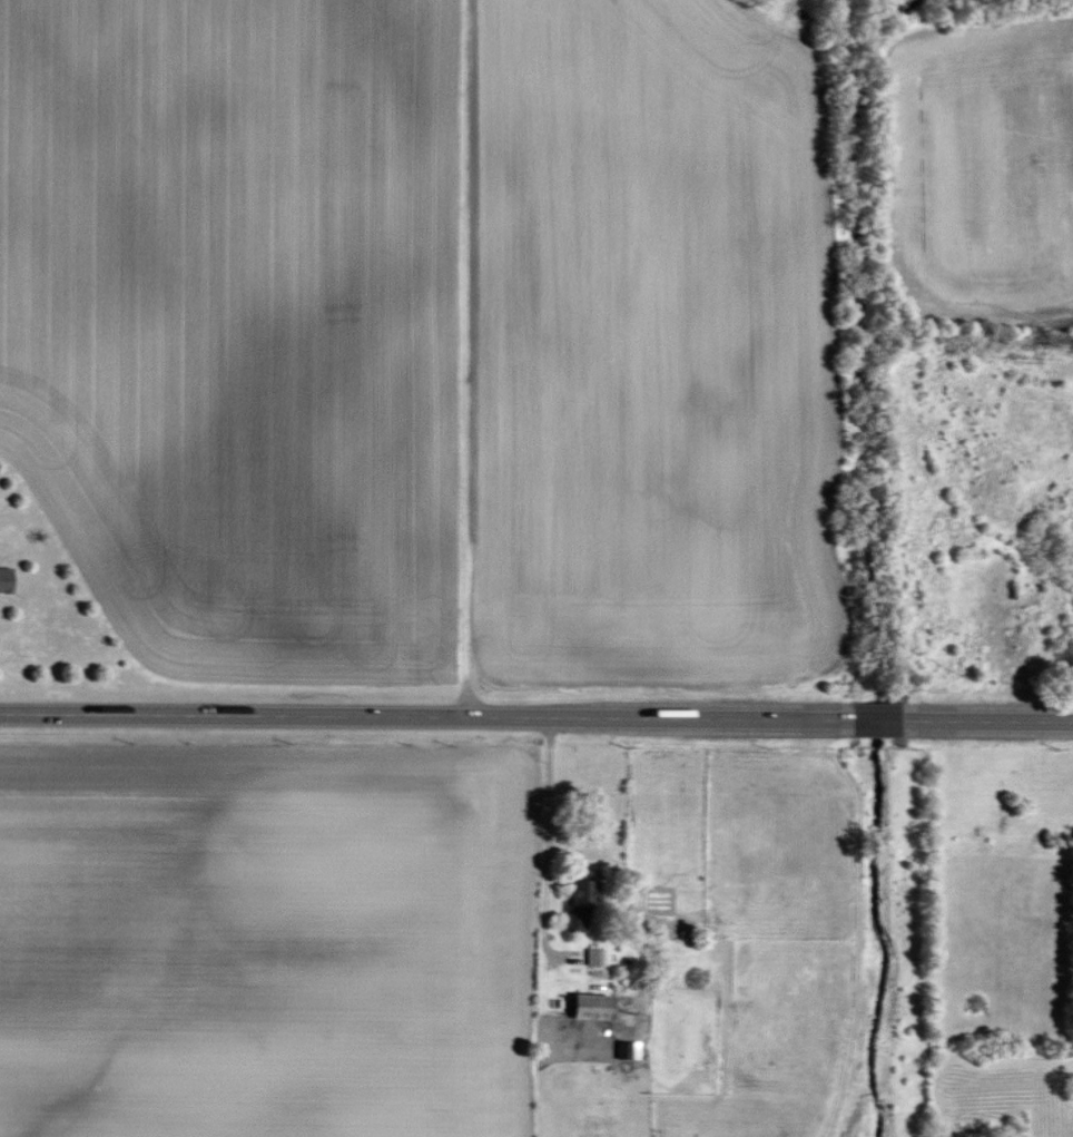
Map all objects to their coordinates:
building: (7, 580)
road: (536, 719)
road: (547, 843)
building: (582, 903)
building: (595, 957)
building: (594, 1007)
building: (628, 1050)

